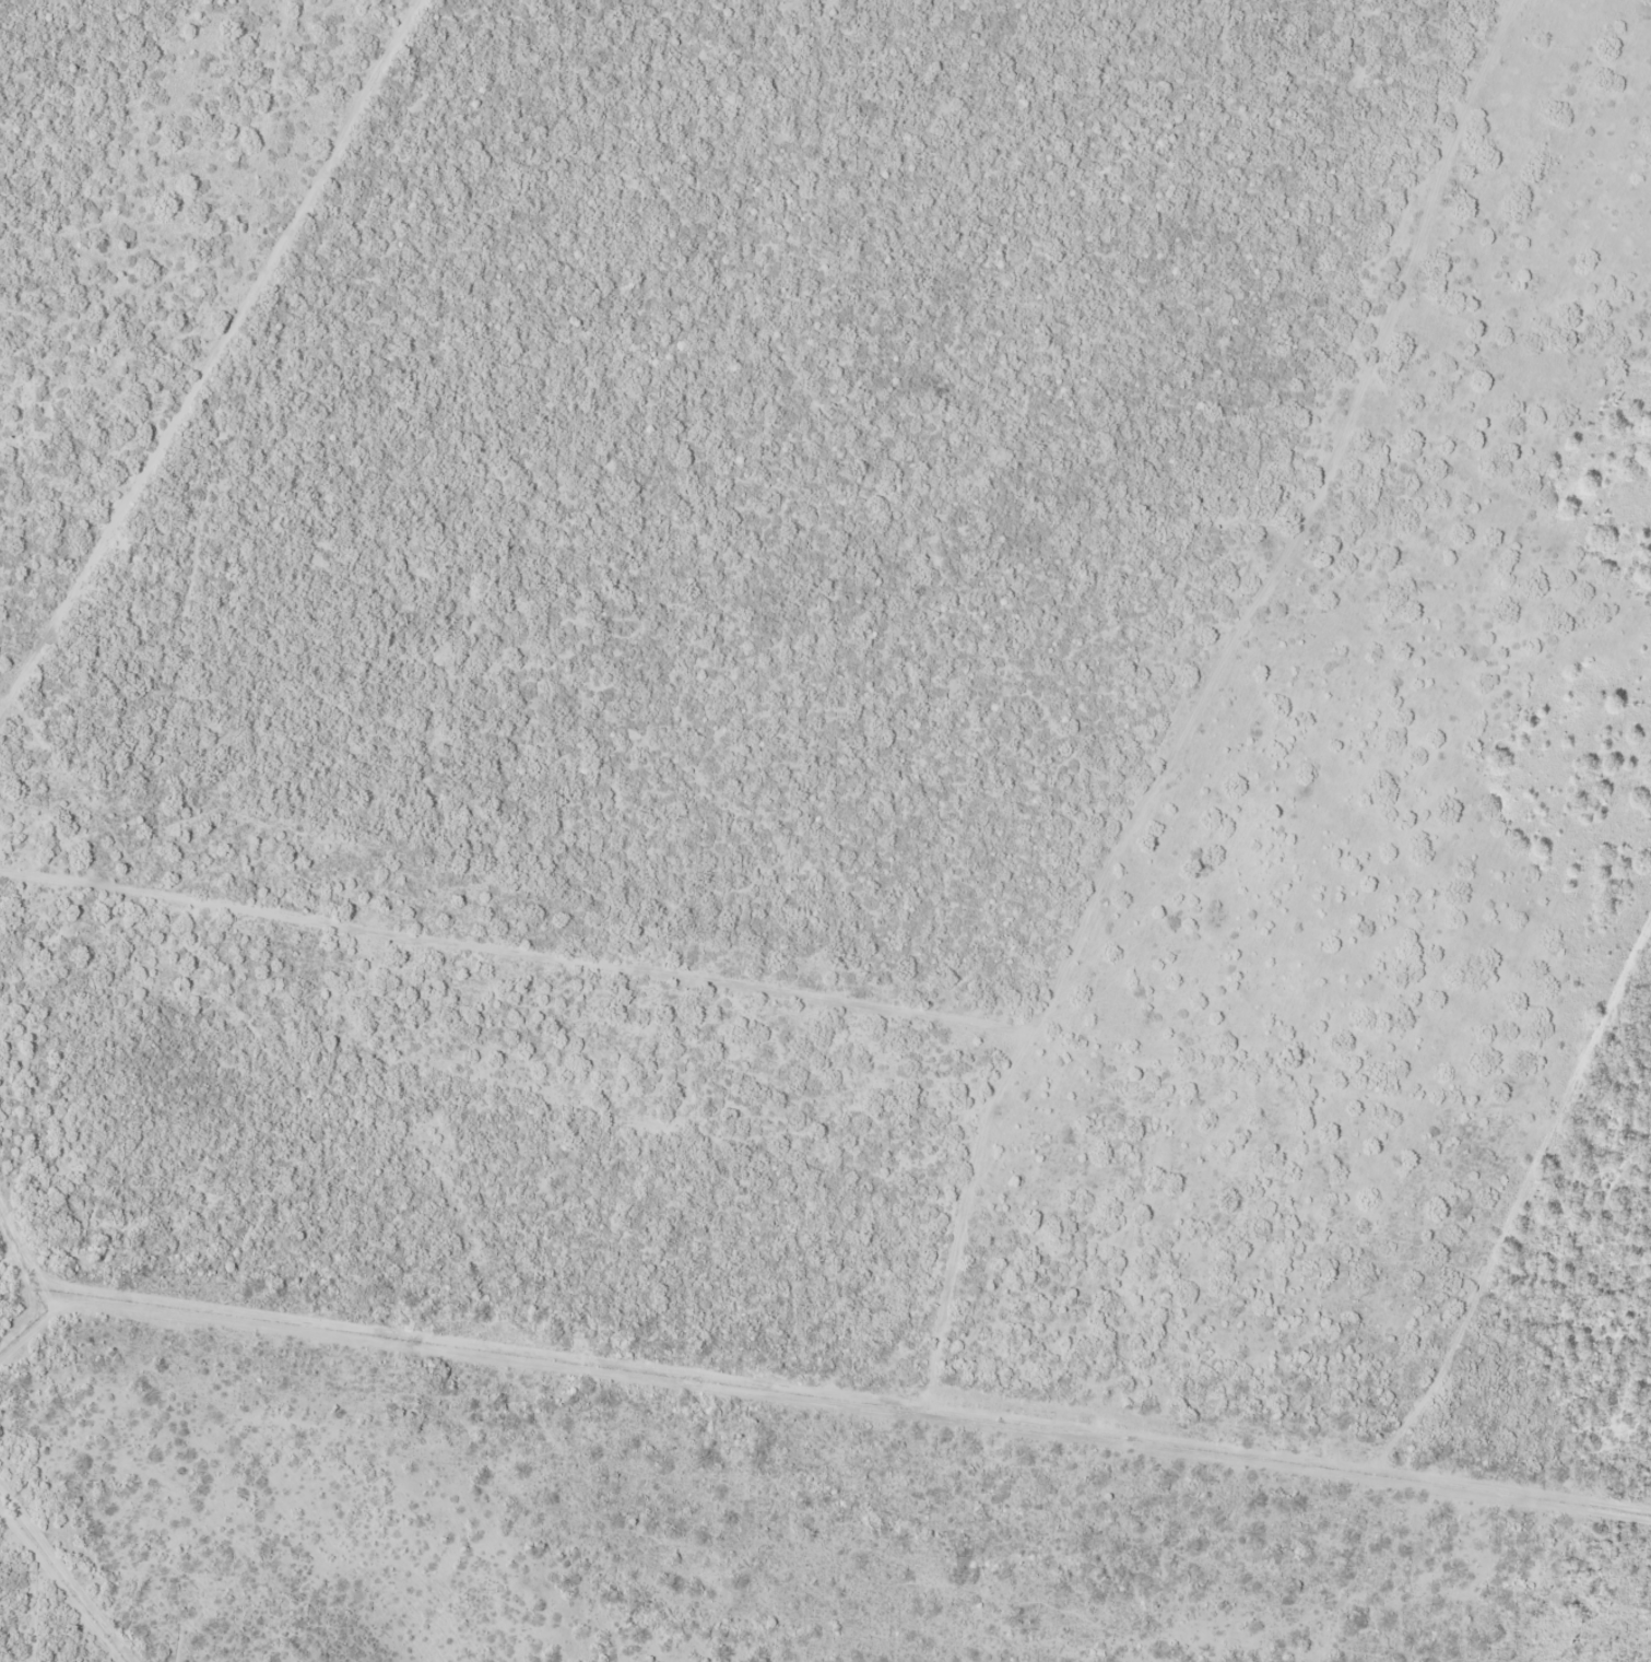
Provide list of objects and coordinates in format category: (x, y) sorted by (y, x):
road: (198, 326)

